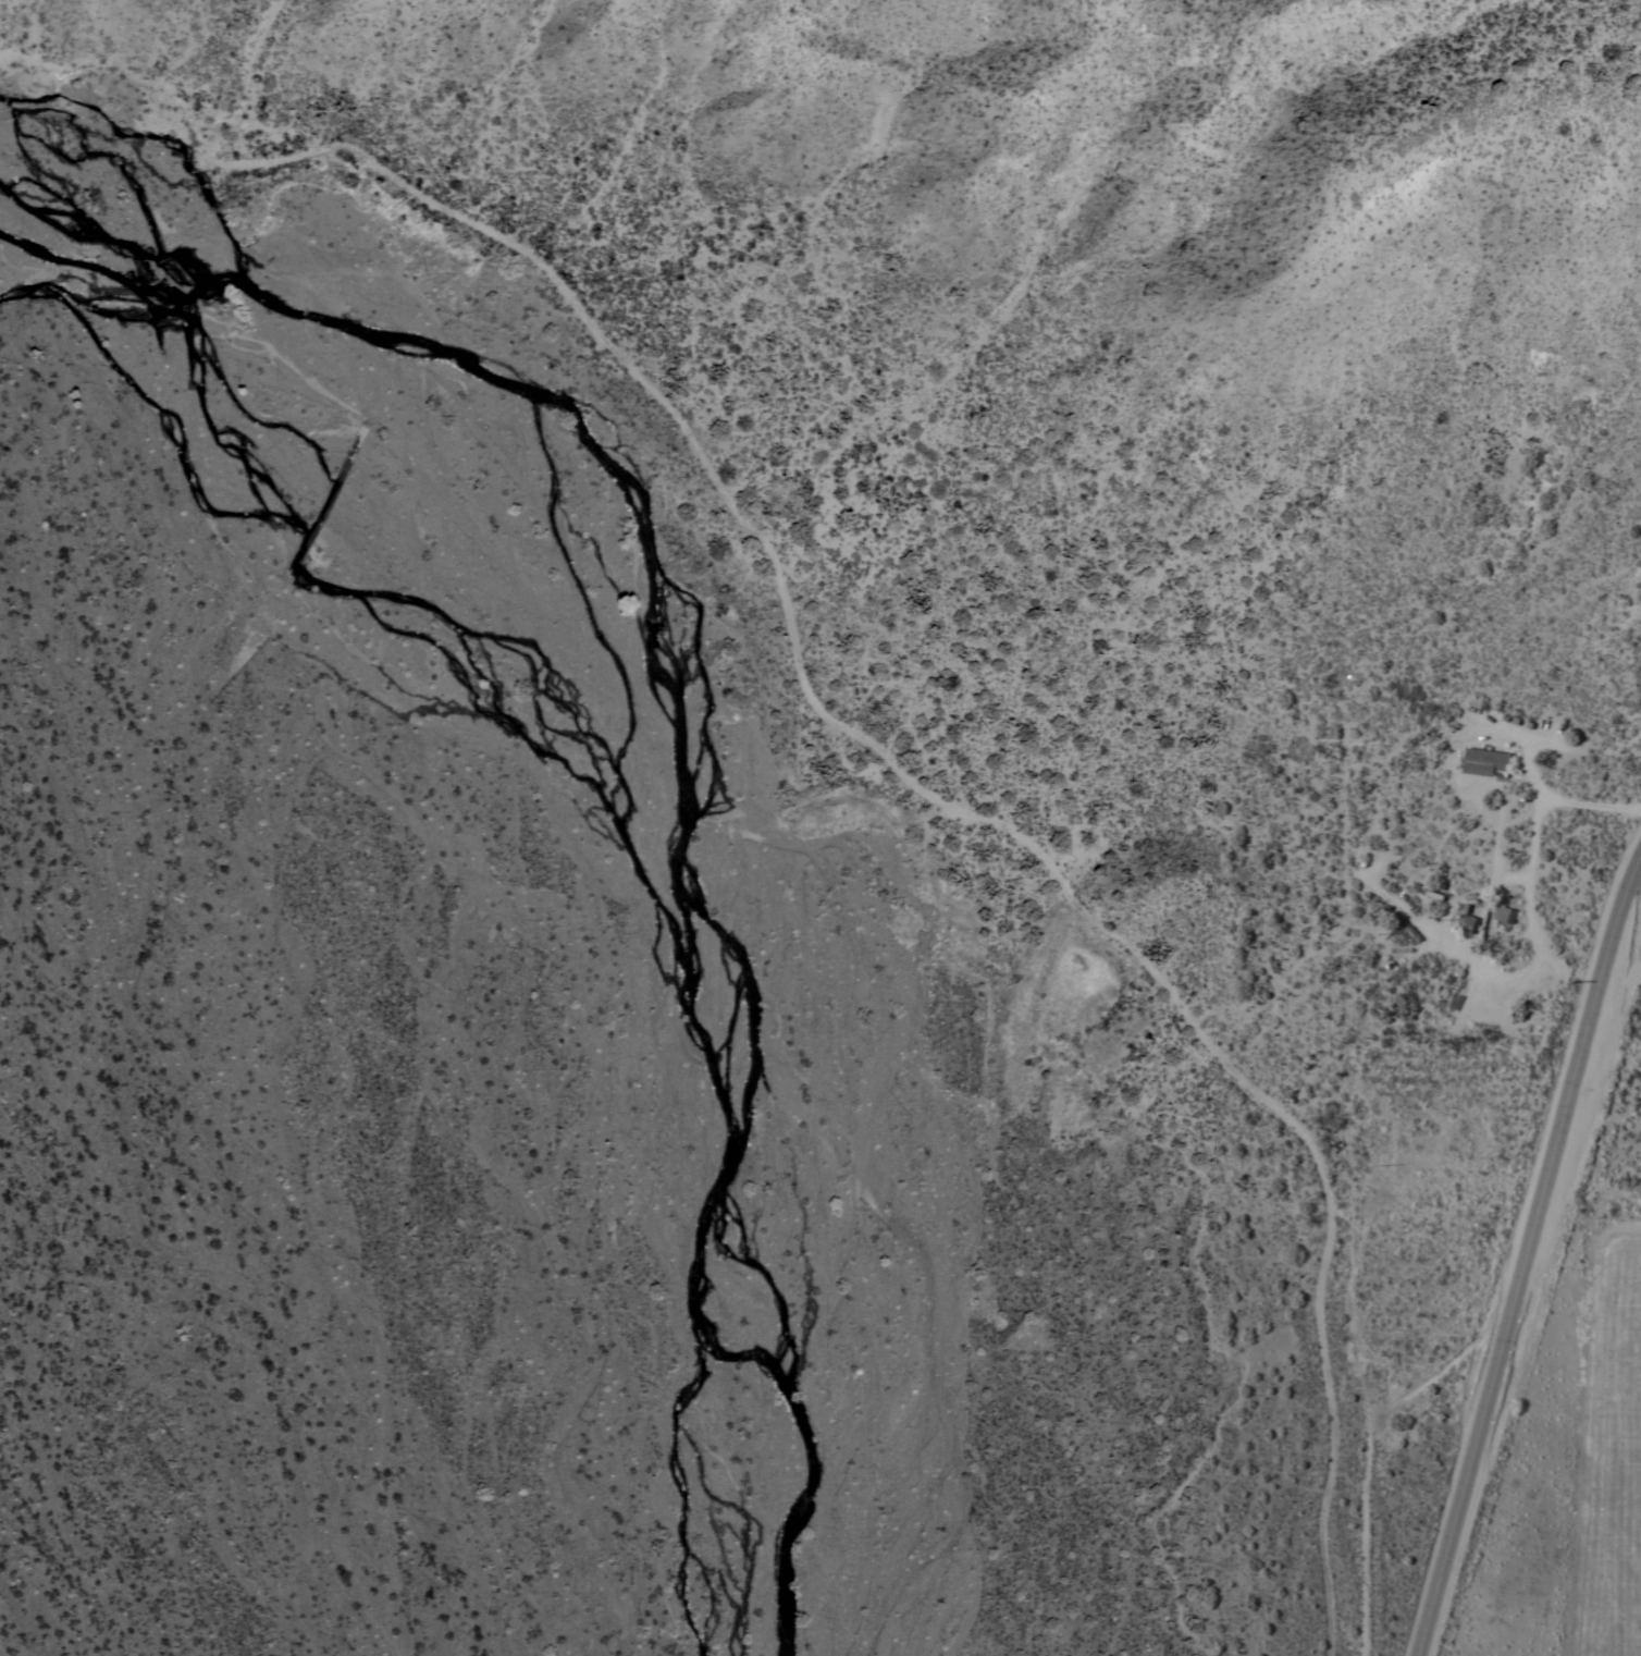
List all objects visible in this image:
building: (1486, 762)
road: (1557, 801)
road: (1531, 907)
building: (1465, 908)
building: (1505, 913)
building: (1467, 924)
road: (1528, 1256)
crop: (1619, 1470)

